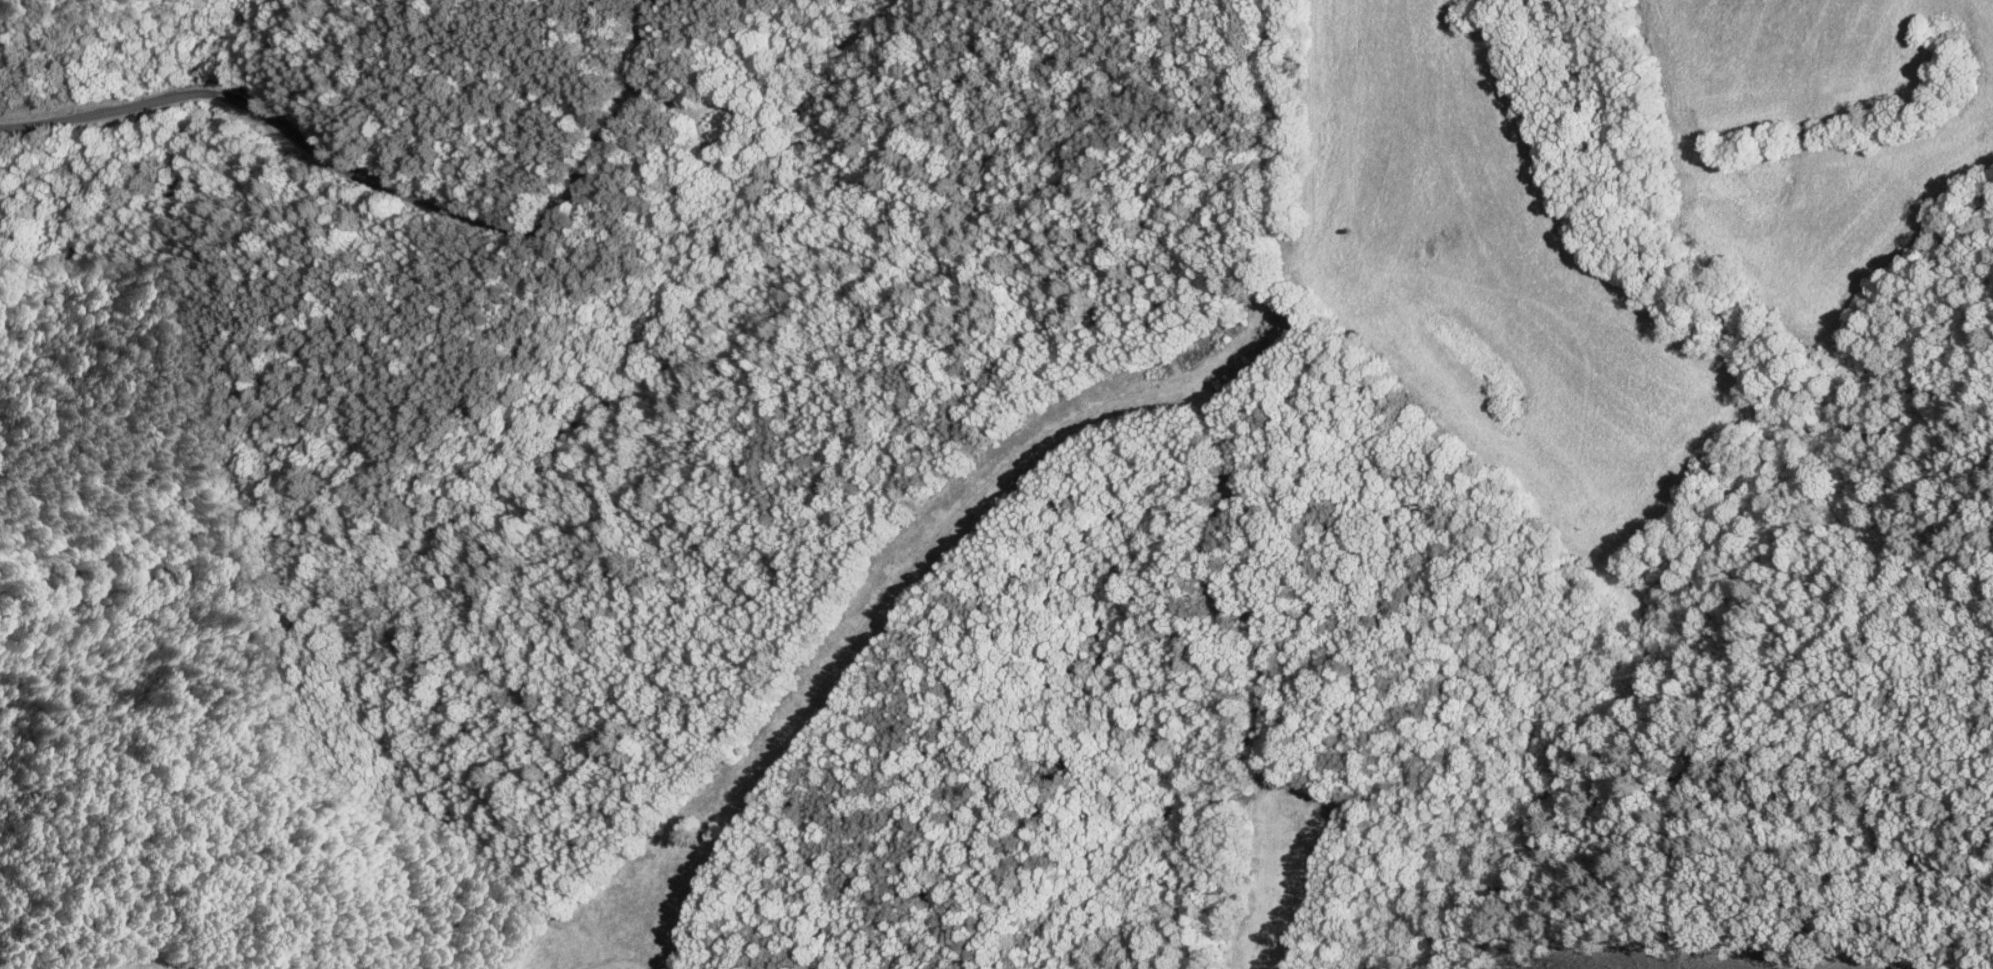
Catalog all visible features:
road: (389, 185)

